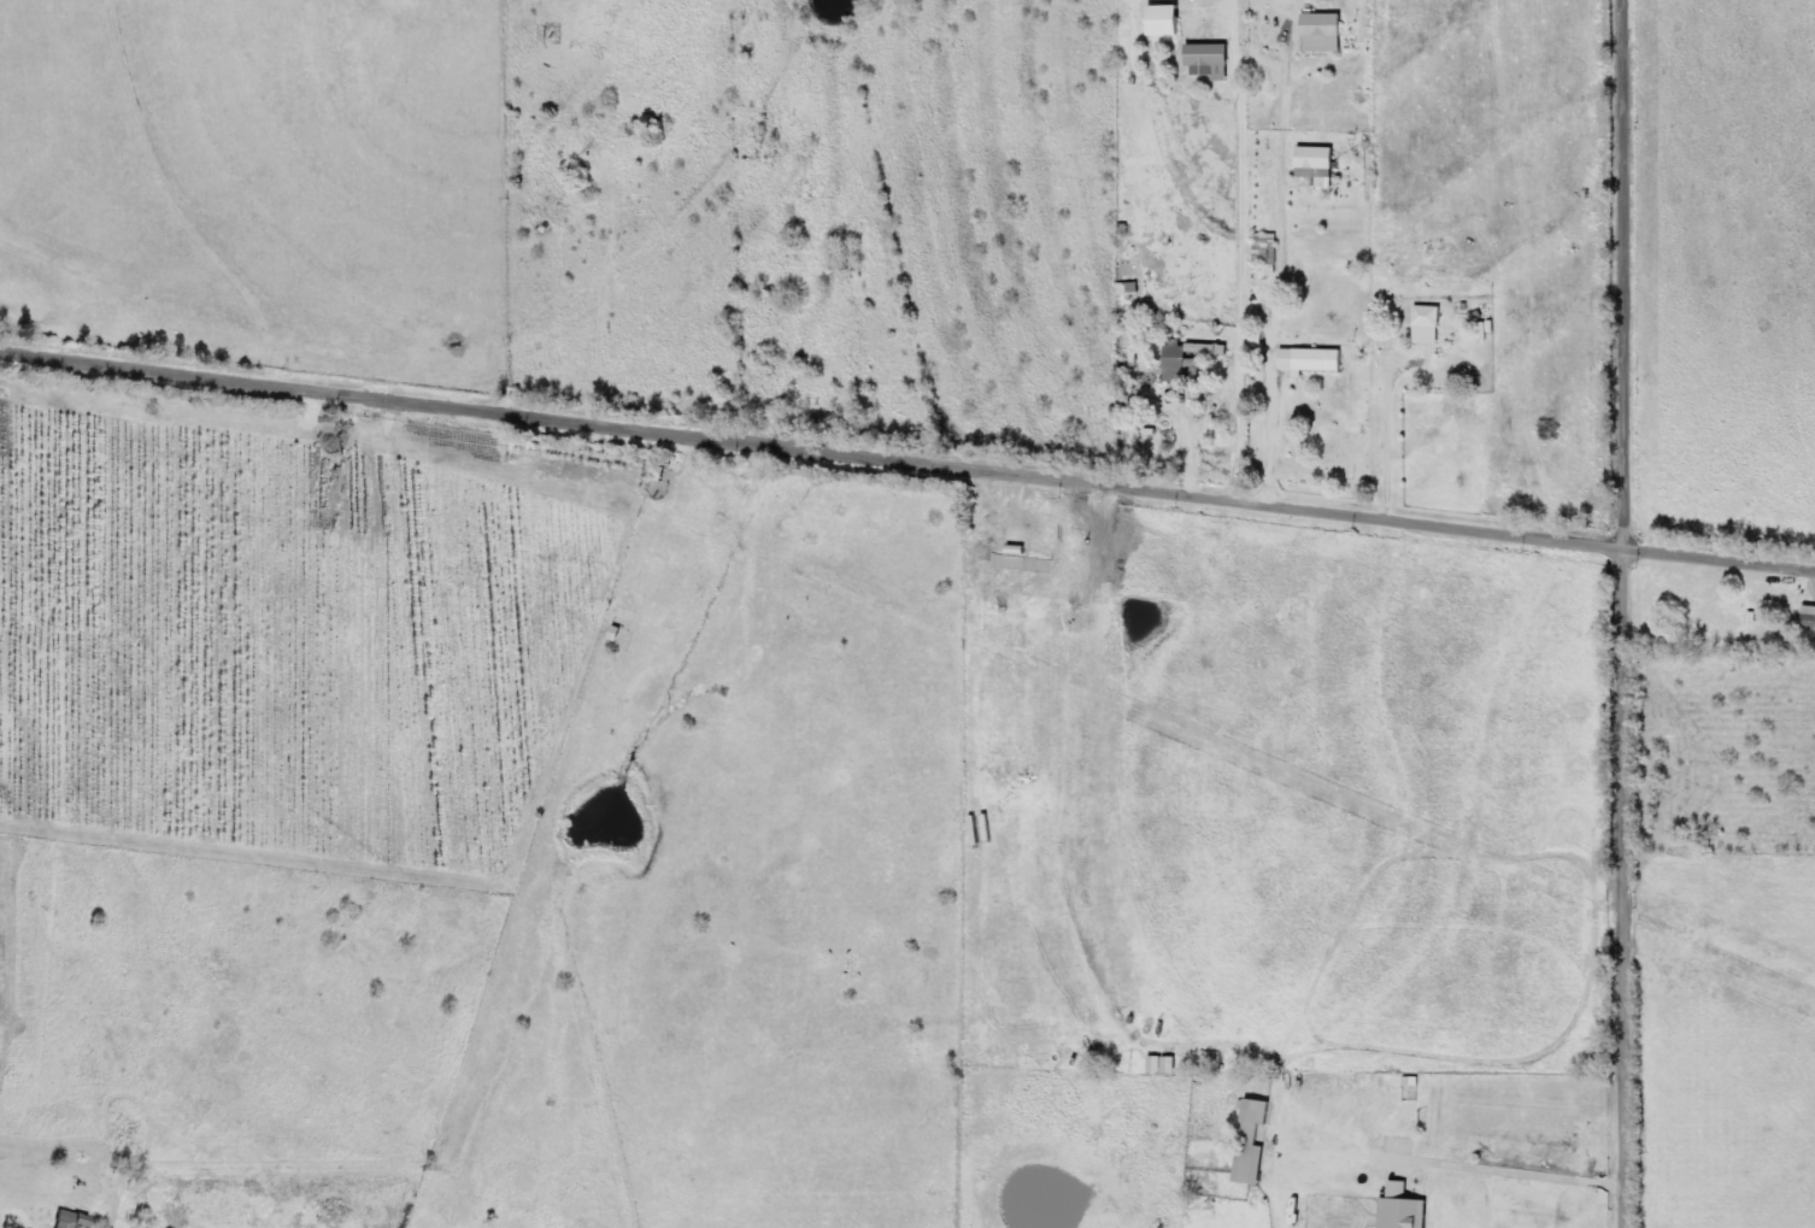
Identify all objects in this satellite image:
building: (1169, 22)
building: (1326, 34)
building: (1212, 61)
building: (1320, 163)
building: (1269, 249)
road: (1622, 280)
building: (1431, 325)
building: (1136, 348)
building: (1190, 360)
building: (1315, 362)
road: (907, 474)
building: (1811, 617)
road: (1622, 893)
building: (1256, 1035)
building: (1256, 1142)
building: (1406, 1209)
building: (75, 1220)

